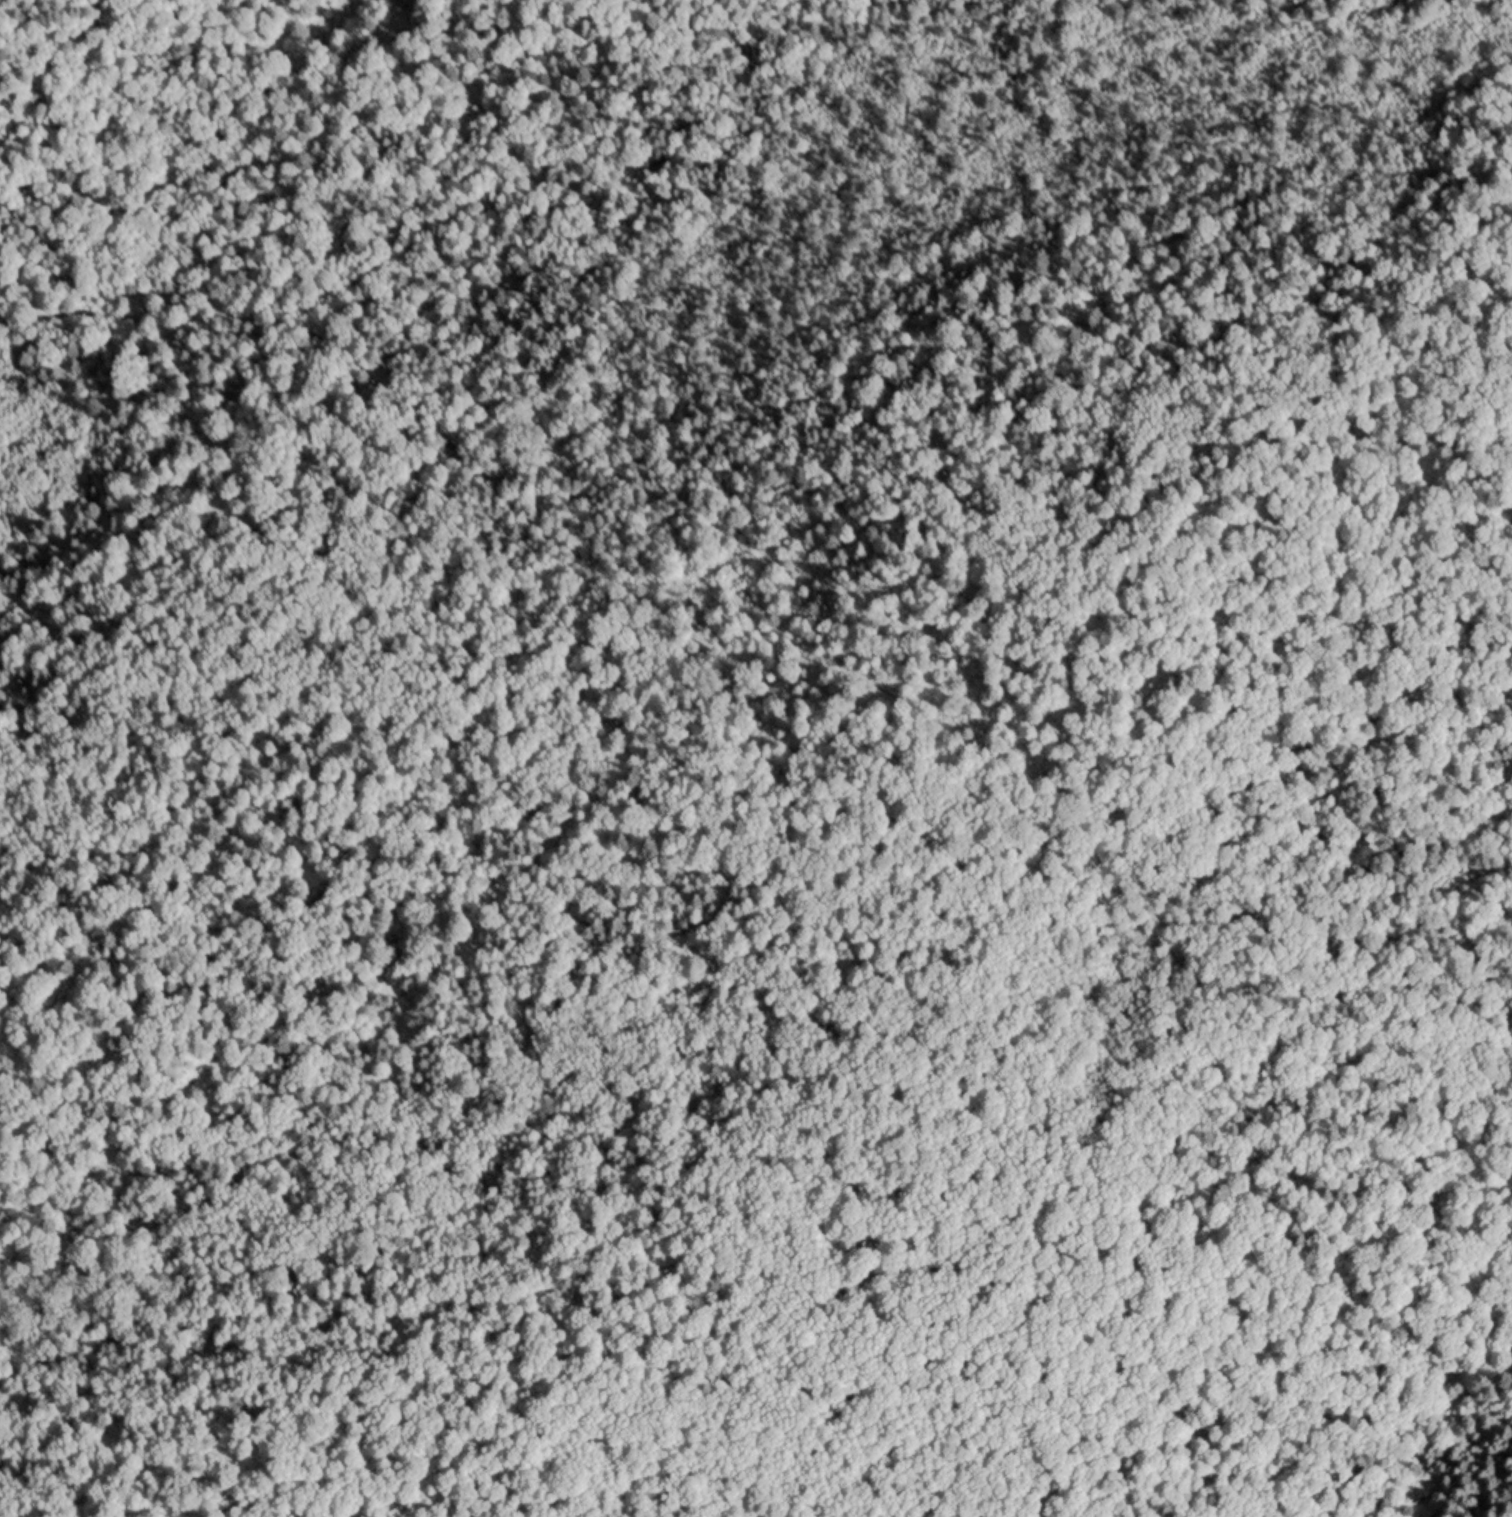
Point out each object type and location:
road: (1199, 438)
road: (497, 492)
road: (713, 1236)

